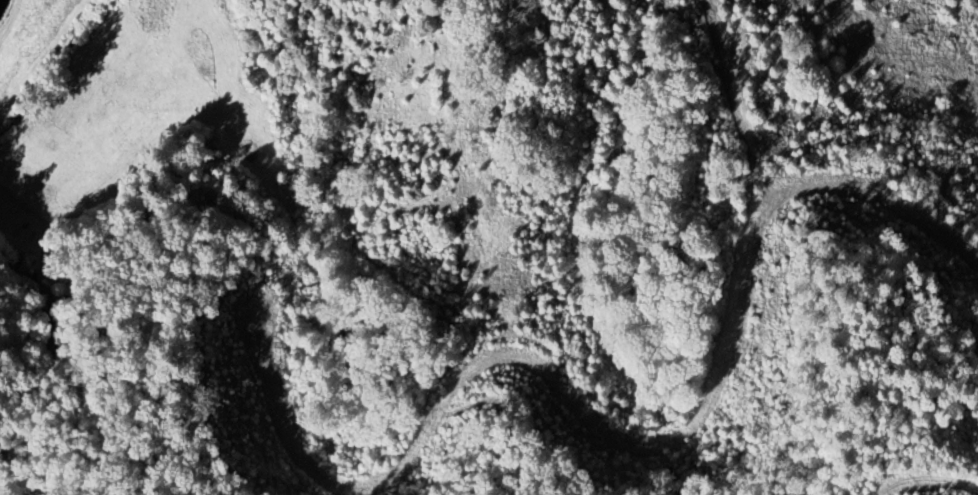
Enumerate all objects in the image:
road: (605, 429)

